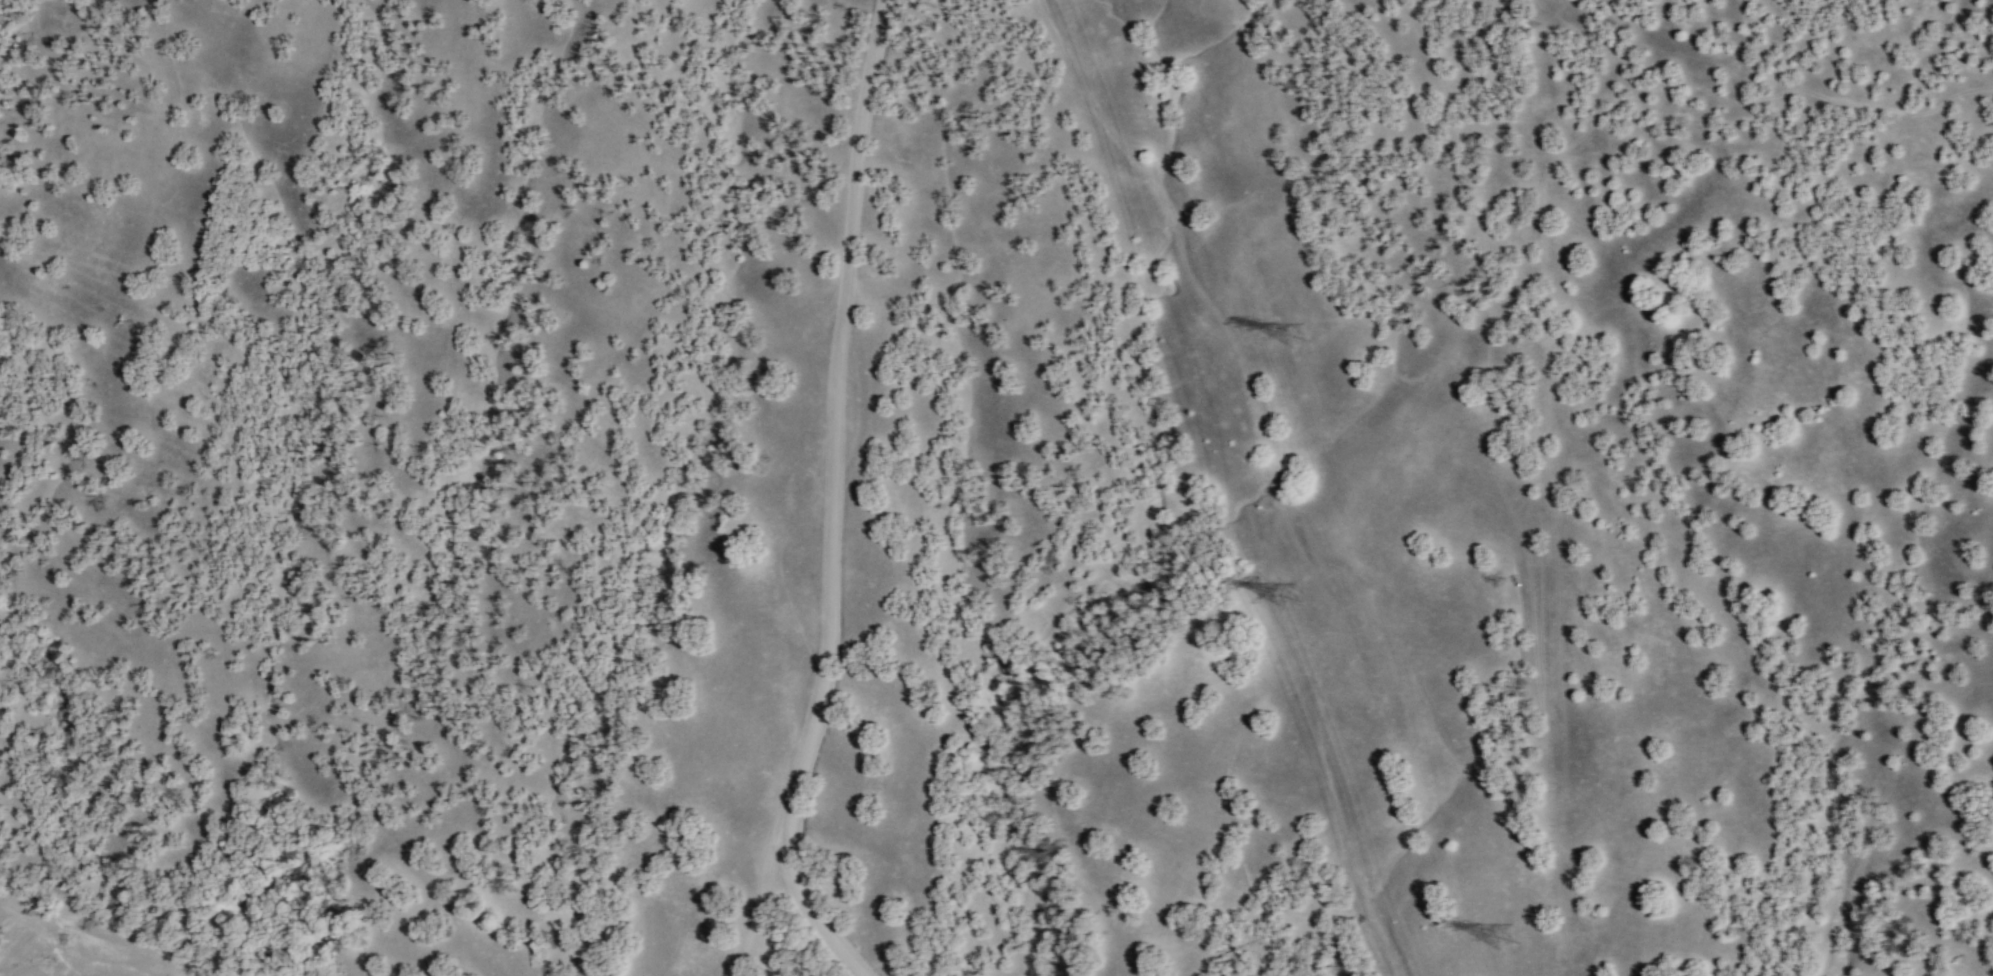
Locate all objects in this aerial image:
power tower: (1293, 319)
road: (842, 499)
power tower: (1279, 581)
power tower: (1500, 923)
river: (91, 927)

